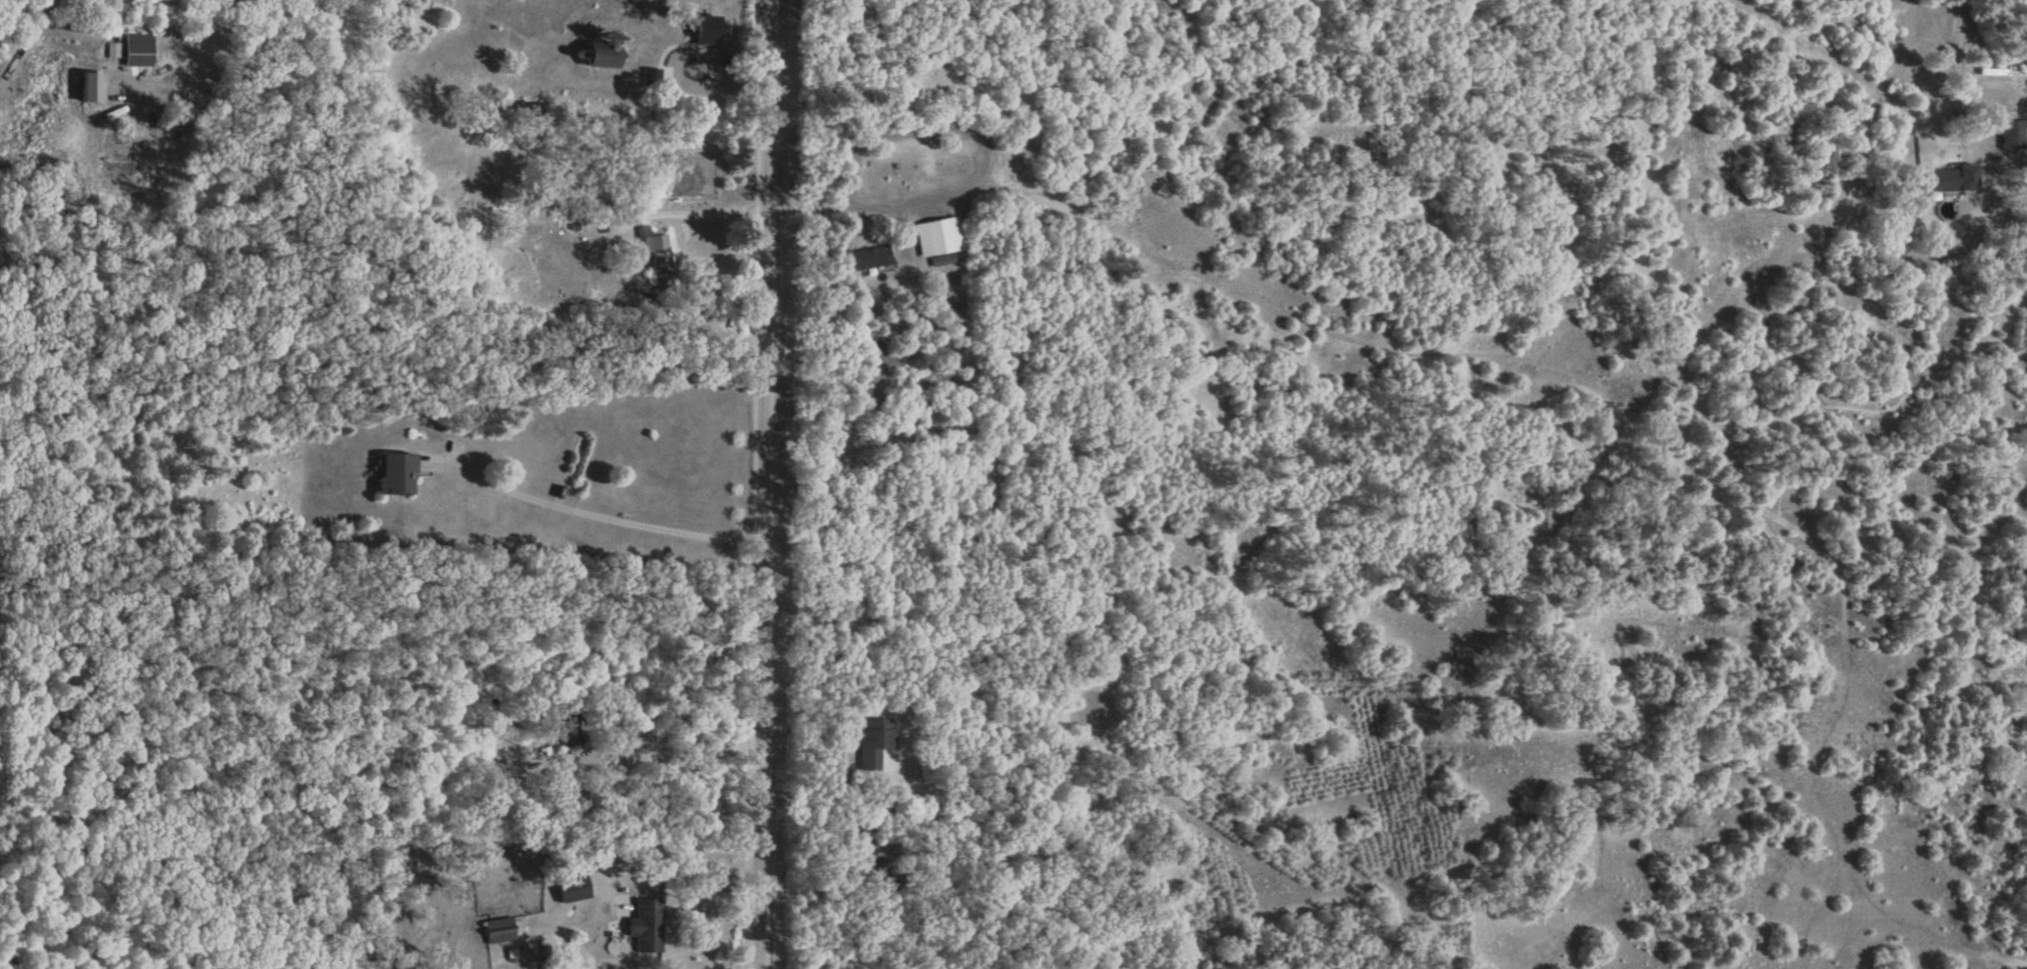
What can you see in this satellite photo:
road: (217, 14)
building: (704, 34)
road: (24, 37)
building: (112, 54)
building: (136, 54)
building: (597, 59)
road: (1961, 64)
building: (651, 75)
building: (86, 92)
building: (606, 123)
building: (2013, 139)
road: (976, 175)
building: (1949, 183)
road: (705, 216)
building: (936, 239)
building: (655, 247)
building: (868, 261)
building: (391, 476)
road: (760, 484)
road: (611, 519)
building: (566, 729)
building: (873, 745)
road: (680, 852)
building: (569, 890)
building: (645, 929)
building: (496, 933)

